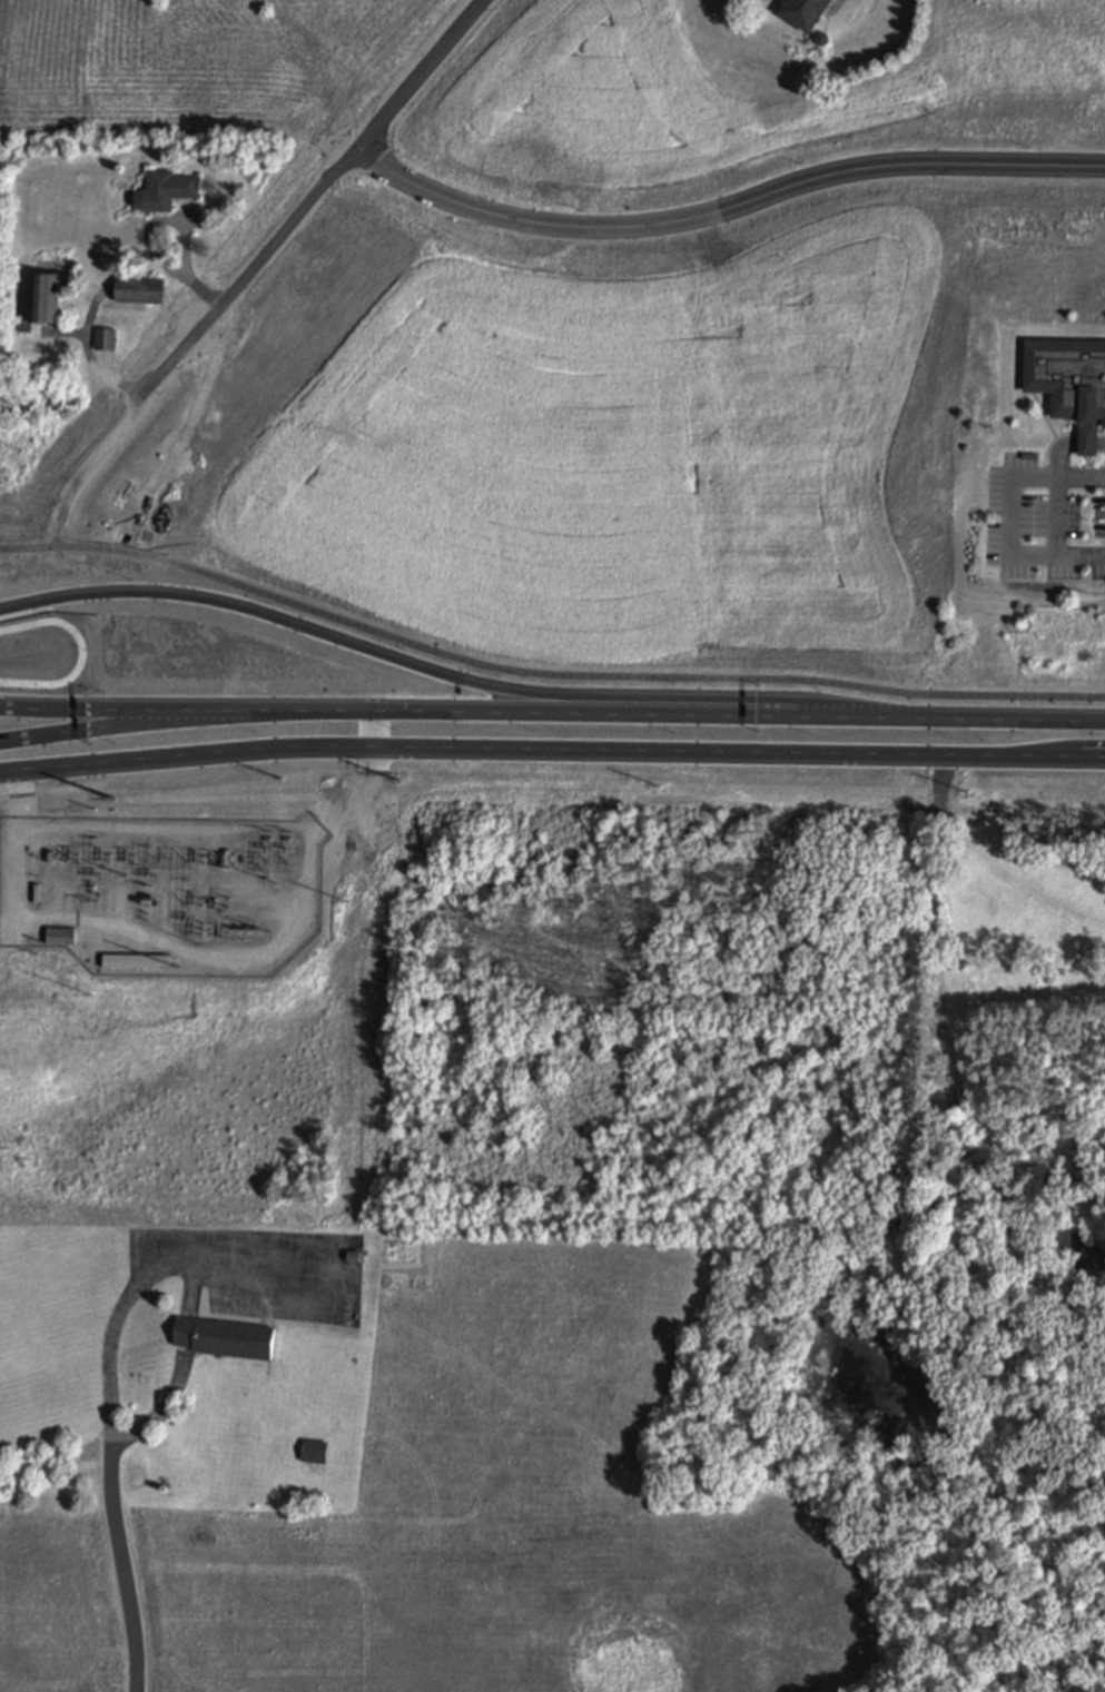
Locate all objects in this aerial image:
building: (801, 11)
road: (336, 170)
building: (165, 188)
road: (723, 210)
building: (139, 288)
building: (47, 295)
building: (27, 325)
building: (106, 337)
building: (1069, 383)
road: (1045, 417)
crop: (581, 429)
road: (1089, 435)
road: (1102, 436)
road: (112, 439)
road: (1089, 444)
road: (1102, 444)
road: (1052, 445)
road: (1058, 475)
road: (1059, 516)
parking lot: (1044, 525)
road: (1013, 538)
road: (79, 655)
road: (442, 671)
road: (543, 677)
road: (527, 712)
road: (82, 713)
road: (963, 718)
road: (1069, 721)
road: (82, 730)
road: (407, 746)
road: (960, 754)
power tower: (279, 779)
power tower: (394, 779)
power tower: (653, 781)
power tower: (960, 783)
power tower: (112, 798)
building: (41, 799)
power tower: (284, 831)
power tower: (266, 832)
power substation: (162, 892)
power tower: (343, 894)
power tower: (229, 896)
power tower: (82, 899)
building: (59, 932)
building: (138, 934)
road: (208, 954)
building: (135, 957)
power tower: (90, 996)
road: (944, 1042)
building: (1071, 1241)
building: (353, 1254)
road: (237, 1255)
parking lot: (257, 1272)
road: (154, 1277)
road: (251, 1293)
road: (186, 1329)
building: (225, 1336)
road: (129, 1435)
building: (313, 1449)
road: (124, 1567)

